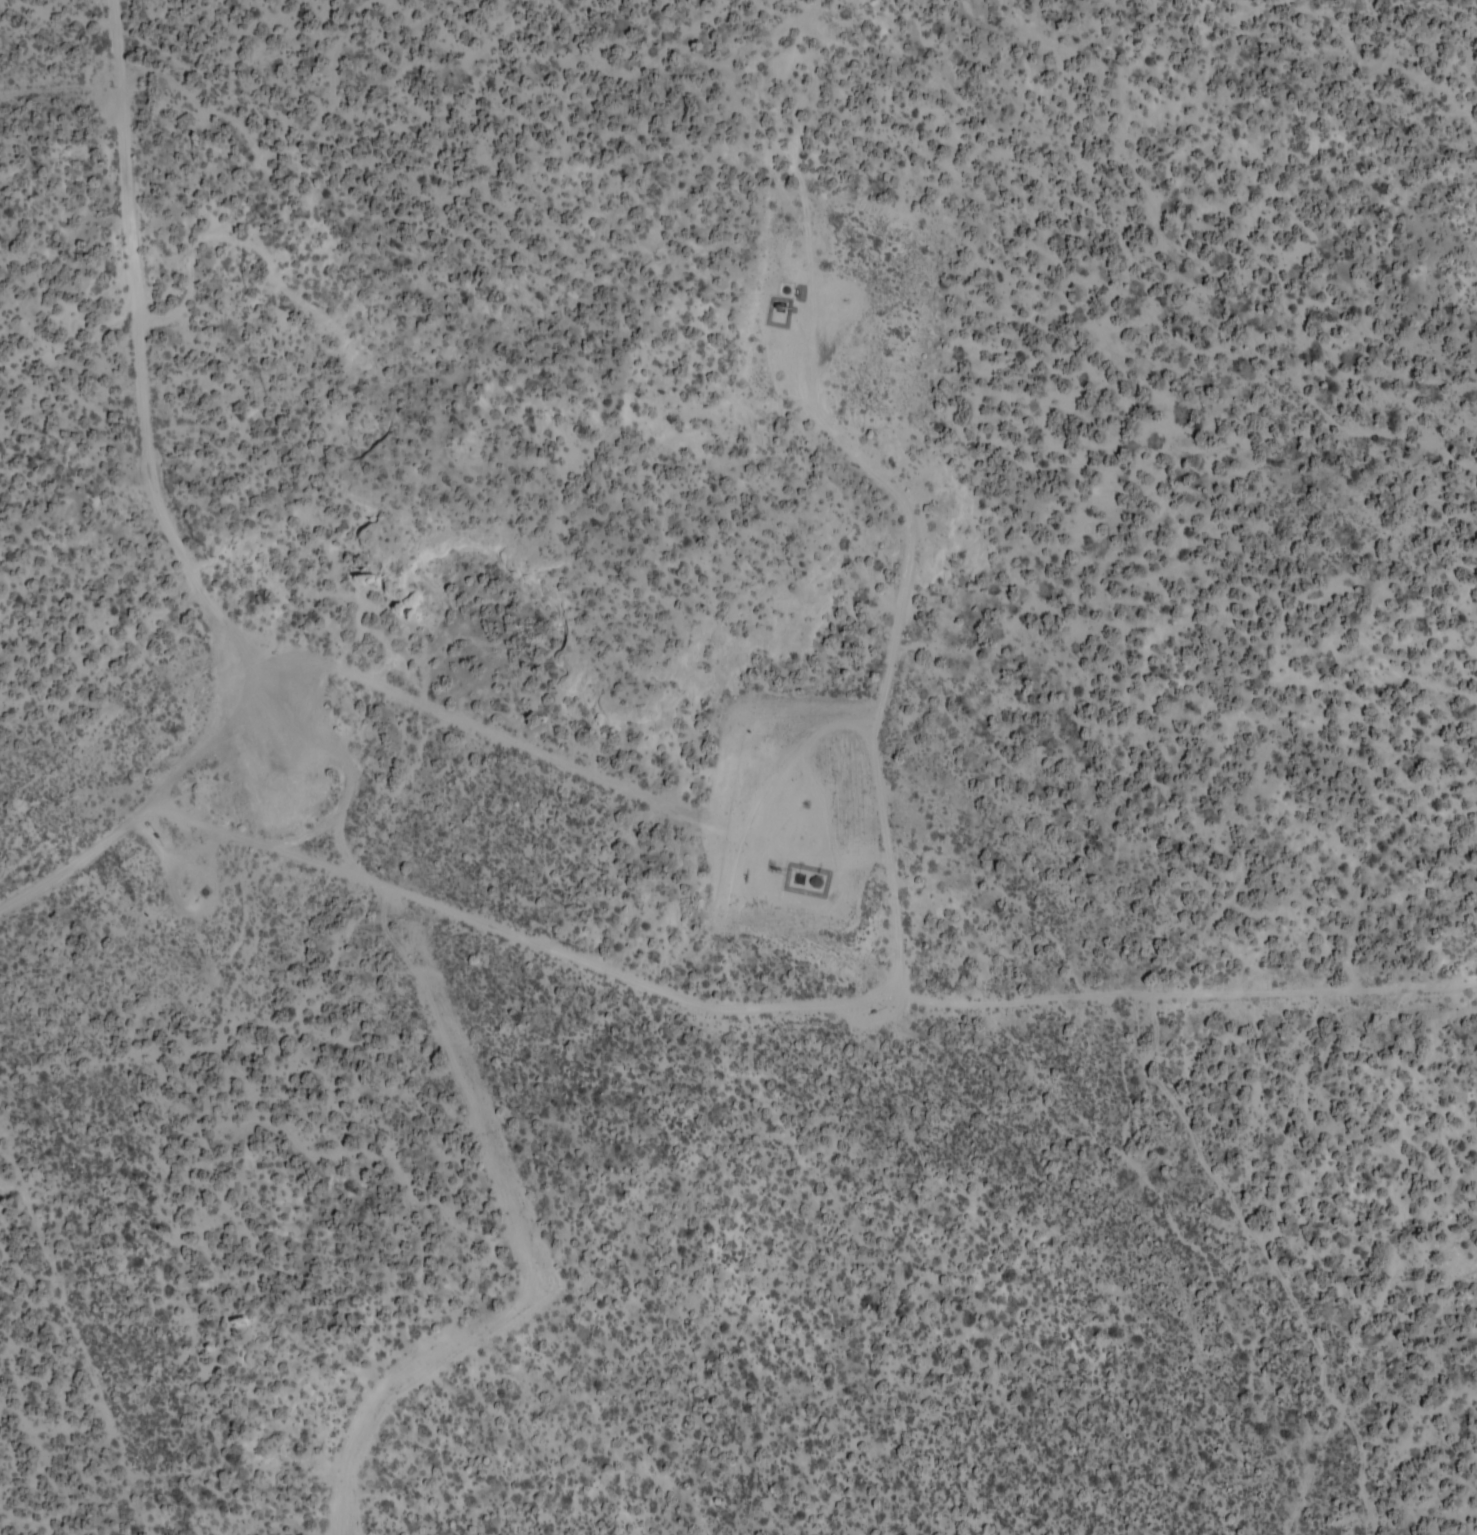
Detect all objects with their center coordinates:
road: (193, 515)
road: (526, 936)
road: (1189, 993)

